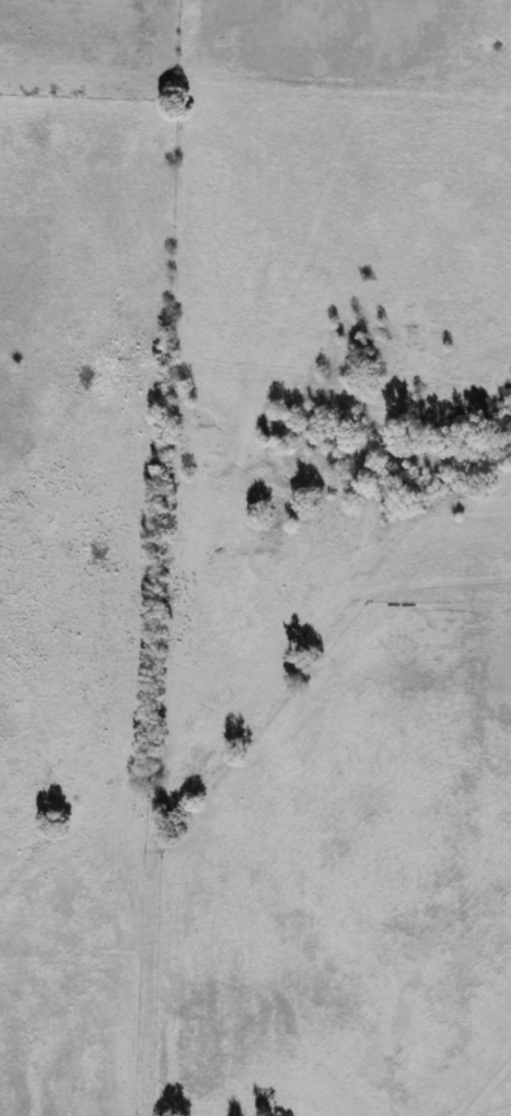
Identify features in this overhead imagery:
road: (488, 1088)

